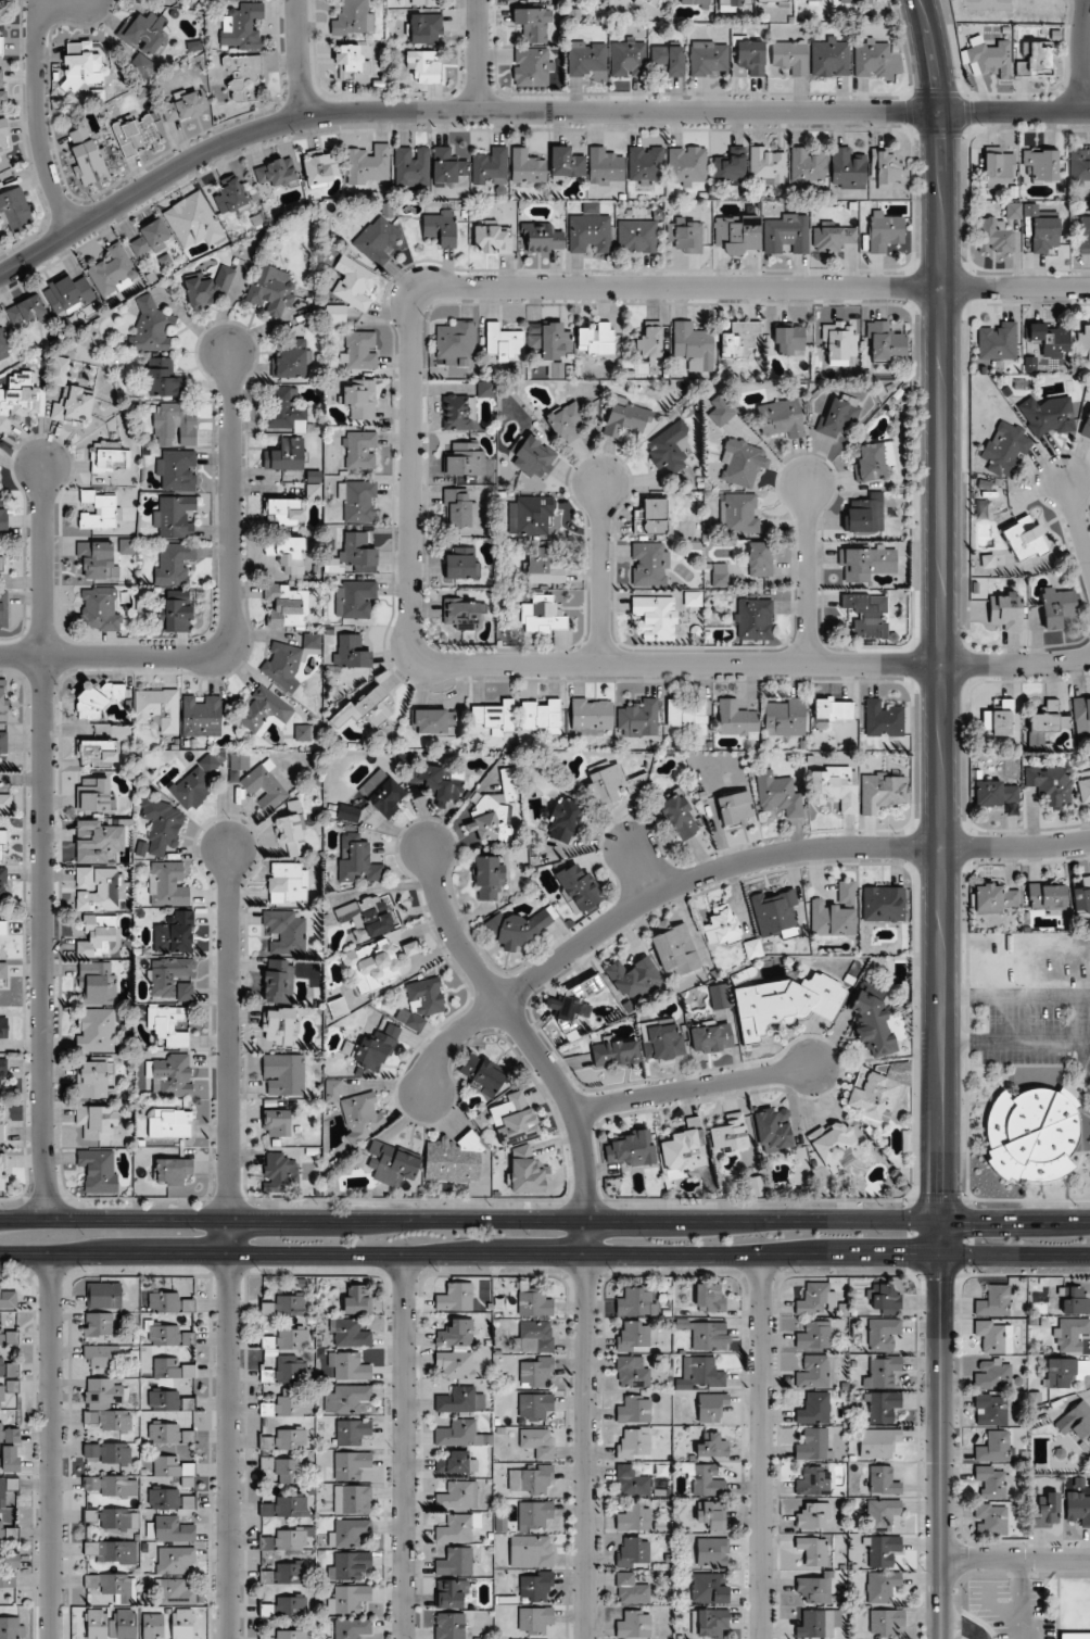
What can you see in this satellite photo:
building: (527, 0)
building: (772, 0)
building: (815, 0)
building: (857, 1)
building: (694, 2)
building: (734, 2)
building: (418, 3)
building: (646, 4)
building: (353, 18)
building: (533, 25)
building: (241, 28)
building: (426, 29)
building: (1, 33)
building: (144, 42)
road: (1082, 55)
road: (479, 56)
building: (751, 58)
building: (790, 58)
building: (988, 58)
building: (585, 59)
building: (628, 59)
building: (669, 59)
building: (709, 59)
building: (831, 59)
building: (1034, 59)
road: (300, 60)
building: (876, 61)
building: (348, 63)
building: (427, 66)
building: (532, 67)
building: (84, 68)
building: (243, 77)
building: (2, 91)
road: (38, 108)
building: (186, 108)
road: (449, 113)
road: (1014, 113)
building: (138, 133)
building: (4, 139)
building: (87, 155)
building: (1042, 163)
building: (567, 164)
building: (768, 164)
building: (369, 165)
building: (646, 165)
building: (687, 165)
building: (808, 165)
building: (411, 166)
building: (447, 166)
building: (731, 166)
building: (1079, 166)
building: (320, 167)
building: (491, 167)
building: (605, 167)
building: (528, 168)
building: (847, 168)
building: (886, 169)
building: (998, 169)
building: (276, 173)
building: (231, 197)
building: (14, 206)
building: (1029, 209)
building: (1013, 210)
building: (192, 222)
building: (440, 228)
building: (590, 230)
building: (885, 231)
building: (737, 235)
building: (786, 235)
building: (1044, 235)
building: (1085, 235)
building: (686, 236)
building: (993, 236)
building: (637, 237)
building: (833, 238)
building: (493, 239)
building: (150, 240)
building: (557, 240)
building: (380, 241)
building: (113, 272)
building: (354, 282)
road: (573, 288)
building: (210, 289)
building: (270, 290)
building: (68, 295)
building: (26, 311)
building: (335, 315)
building: (151, 328)
building: (596, 340)
building: (739, 340)
building: (1049, 340)
building: (454, 341)
building: (650, 341)
building: (790, 341)
building: (839, 341)
building: (998, 341)
building: (1083, 341)
building: (504, 343)
building: (886, 343)
building: (4, 345)
building: (694, 346)
building: (558, 349)
building: (358, 350)
building: (291, 364)
building: (163, 378)
building: (71, 398)
building: (18, 399)
building: (359, 399)
building: (283, 409)
building: (721, 412)
building: (458, 413)
building: (1049, 415)
building: (837, 416)
building: (781, 418)
building: (625, 419)
building: (567, 421)
building: (175, 425)
building: (1086, 426)
building: (669, 447)
building: (1005, 449)
building: (359, 452)
building: (286, 455)
building: (534, 458)
building: (110, 459)
building: (464, 459)
building: (742, 463)
building: (177, 470)
building: (358, 502)
building: (981, 508)
building: (458, 509)
building: (100, 510)
building: (284, 513)
building: (3, 515)
building: (739, 515)
building: (532, 517)
building: (652, 517)
building: (865, 517)
building: (175, 518)
road: (1078, 521)
building: (1025, 538)
building: (357, 553)
building: (287, 554)
building: (99, 559)
building: (759, 559)
building: (987, 560)
building: (3, 563)
building: (173, 564)
building: (866, 564)
building: (461, 565)
building: (650, 565)
building: (557, 570)
road: (603, 572)
road: (809, 575)
building: (720, 576)
building: (354, 598)
building: (693, 600)
building: (1056, 606)
building: (286, 608)
road: (942, 609)
building: (99, 610)
road: (232, 610)
building: (3, 612)
building: (178, 612)
building: (1005, 612)
building: (866, 615)
building: (464, 616)
building: (542, 616)
building: (656, 618)
building: (753, 619)
building: (351, 652)
building: (288, 660)
road: (753, 664)
building: (97, 698)
building: (4, 701)
building: (159, 709)
building: (367, 709)
building: (828, 709)
building: (265, 713)
building: (687, 714)
building: (201, 716)
building: (541, 716)
building: (1081, 717)
building: (591, 718)
building: (785, 718)
building: (1045, 718)
building: (495, 719)
building: (639, 719)
building: (999, 719)
building: (736, 720)
building: (883, 720)
building: (434, 722)
building: (302, 733)
building: (3, 744)
building: (99, 754)
building: (239, 761)
building: (436, 782)
building: (195, 783)
building: (1050, 783)
building: (508, 785)
building: (605, 785)
building: (265, 787)
building: (836, 789)
building: (882, 793)
building: (994, 793)
building: (383, 794)
building: (94, 795)
building: (778, 795)
building: (5, 806)
building: (737, 809)
building: (347, 814)
building: (680, 816)
building: (492, 821)
building: (565, 821)
building: (162, 825)
building: (291, 836)
road: (42, 841)
building: (101, 842)
building: (2, 847)
building: (357, 861)
road: (717, 869)
road: (643, 873)
building: (489, 878)
building: (287, 884)
building: (167, 885)
building: (580, 887)
building: (1, 890)
building: (99, 890)
building: (1047, 896)
building: (1082, 896)
building: (993, 898)
building: (883, 905)
building: (835, 913)
building: (775, 915)
building: (368, 917)
building: (721, 925)
building: (519, 929)
building: (286, 932)
building: (175, 934)
building: (3, 935)
building: (99, 937)
building: (675, 951)
building: (372, 967)
building: (3, 972)
building: (633, 978)
building: (168, 981)
building: (279, 982)
building: (97, 984)
building: (719, 997)
building: (426, 998)
building: (573, 999)
building: (784, 1004)
building: (338, 1008)
building: (872, 1021)
building: (169, 1024)
building: (279, 1026)
road: (521, 1029)
building: (3, 1030)
building: (96, 1031)
road: (228, 1033)
building: (711, 1038)
building: (661, 1039)
building: (377, 1048)
building: (614, 1054)
building: (3, 1071)
building: (482, 1074)
building: (172, 1075)
building: (283, 1075)
building: (96, 1079)
road: (694, 1088)
building: (873, 1095)
building: (356, 1110)
building: (514, 1120)
building: (98, 1122)
building: (277, 1123)
building: (170, 1124)
building: (773, 1130)
building: (1, 1131)
building: (731, 1134)
building: (1031, 1134)
building: (834, 1146)
building: (632, 1150)
building: (679, 1151)
building: (453, 1160)
building: (393, 1163)
building: (99, 1170)
building: (280, 1171)
building: (173, 1172)
building: (3, 1173)
building: (527, 1173)
building: (755, 1186)
traffic signals: (940, 1194)
road: (544, 1220)
traffic signals: (974, 1222)
road: (545, 1256)
traffic signals: (907, 1256)
traffic signals: (940, 1282)
building: (104, 1296)
building: (456, 1298)
building: (710, 1298)
building: (886, 1298)
building: (7, 1299)
building: (813, 1299)
building: (357, 1300)
building: (1074, 1300)
building: (993, 1301)
building: (636, 1302)
building: (169, 1303)
building: (534, 1303)
building: (286, 1306)
building: (98, 1325)
building: (163, 1334)
building: (348, 1334)
building: (455, 1334)
building: (1069, 1334)
building: (708, 1336)
building: (815, 1336)
building: (885, 1336)
building: (993, 1336)
building: (8, 1337)
building: (533, 1337)
building: (634, 1337)
building: (287, 1340)
building: (101, 1358)
building: (455, 1365)
building: (348, 1367)
building: (8, 1370)
building: (170, 1370)
building: (286, 1371)
building: (813, 1372)
building: (1060, 1372)
building: (535, 1373)
building: (633, 1373)
building: (882, 1373)
building: (700, 1374)
building: (993, 1374)
building: (103, 1391)
building: (347, 1399)
building: (165, 1401)
building: (461, 1401)
building: (283, 1407)
building: (882, 1407)
building: (534, 1408)
building: (712, 1408)
building: (990, 1409)
building: (814, 1410)
building: (635, 1411)
building: (1075, 1420)
building: (110, 1421)
road: (229, 1428)
road: (587, 1429)
road: (942, 1429)
building: (352, 1432)
building: (9, 1435)
building: (169, 1435)
building: (461, 1435)
building: (286, 1440)
building: (883, 1442)
building: (536, 1443)
building: (633, 1445)
building: (812, 1445)
road: (406, 1446)
road: (761, 1446)
road: (54, 1447)
building: (712, 1447)
building: (996, 1447)
building: (106, 1453)
building: (11, 1460)
building: (456, 1463)
building: (351, 1465)
building: (282, 1470)
building: (188, 1475)
building: (535, 1480)
building: (632, 1482)
building: (708, 1482)
building: (883, 1482)
building: (991, 1482)
building: (813, 1483)
building: (111, 1487)
building: (7, 1489)
building: (458, 1496)
building: (168, 1500)
building: (353, 1500)
building: (286, 1508)
building: (1078, 1508)
building: (1047, 1509)
building: (534, 1515)
building: (711, 1515)
building: (882, 1515)
building: (813, 1516)
building: (111, 1518)
building: (634, 1518)
building: (990, 1520)
building: (457, 1528)
building: (170, 1530)
building: (8, 1534)
building: (347, 1534)
building: (288, 1539)
building: (882, 1550)
building: (813, 1551)
building: (112, 1552)
building: (531, 1552)
building: (633, 1553)
building: (712, 1553)
road: (1016, 1559)
building: (175, 1561)
building: (455, 1563)
building: (347, 1565)
building: (284, 1574)
building: (8, 1583)
building: (112, 1587)
building: (535, 1587)
building: (882, 1587)
building: (709, 1589)
building: (632, 1590)
building: (813, 1590)
building: (175, 1592)
building: (452, 1594)
building: (350, 1600)
building: (286, 1608)
building: (534, 1622)
building: (709, 1623)
building: (886, 1623)
building: (96, 1624)
building: (182, 1624)
road: (964, 1624)
building: (816, 1625)
building: (451, 1626)
building: (634, 1626)
building: (12, 1628)
building: (352, 1629)
building: (290, 1635)
building: (1074, 1636)

